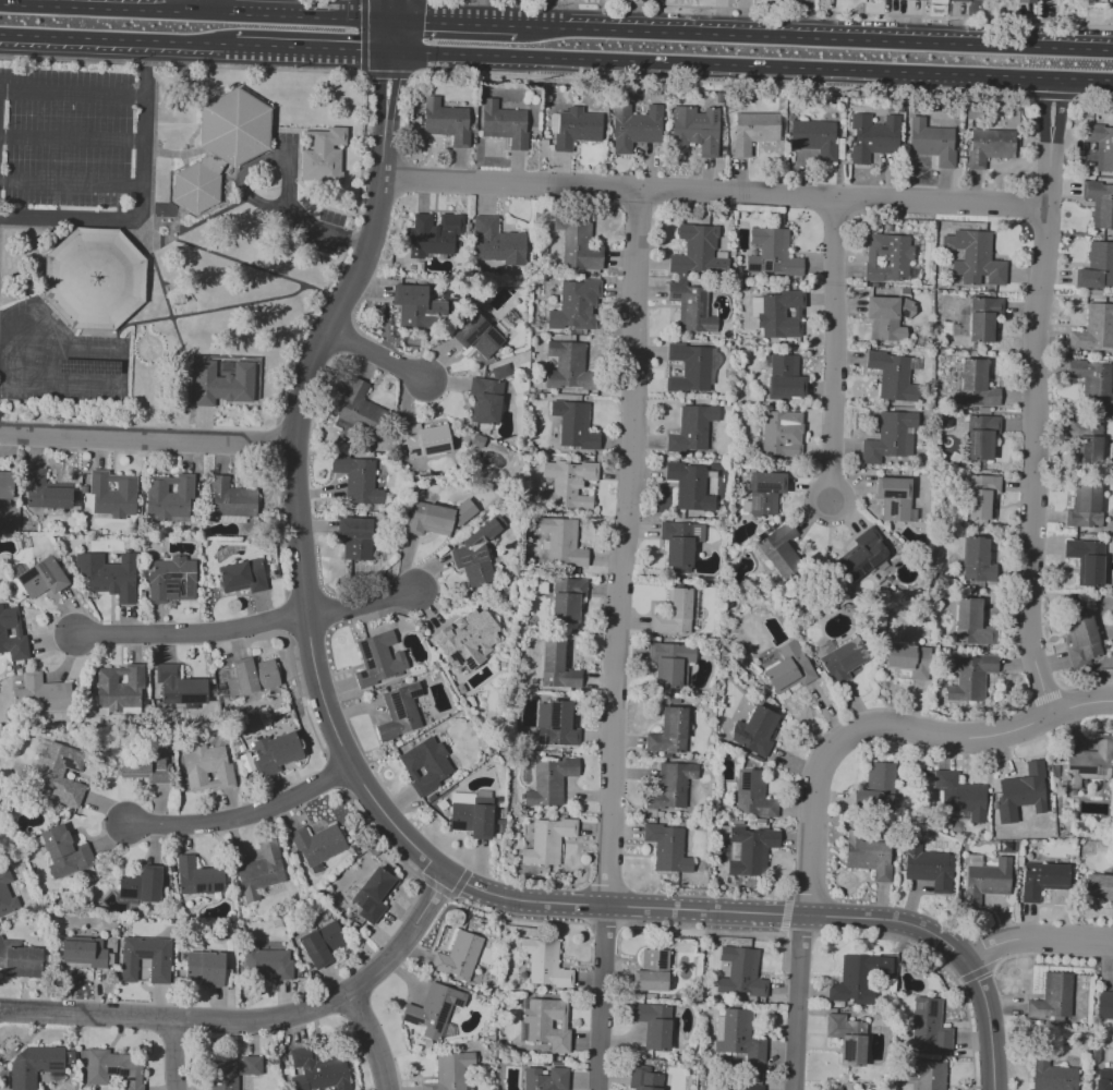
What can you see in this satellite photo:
building: (920, 0)
building: (958, 1)
building: (1026, 1)
building: (1111, 1)
road: (201, 5)
road: (394, 10)
road: (196, 11)
road: (820, 11)
traffic signals: (424, 22)
road: (455, 22)
road: (392, 36)
road: (814, 37)
road: (118, 38)
road: (314, 47)
traffic signals: (355, 49)
road: (362, 61)
road: (752, 64)
road: (181, 65)
road: (144, 69)
traffic signals: (391, 78)
road: (718, 83)
road: (71, 93)
road: (1051, 95)
road: (1093, 97)
building: (447, 122)
building: (505, 124)
building: (636, 128)
building: (578, 129)
building: (695, 129)
building: (754, 131)
building: (872, 136)
building: (814, 137)
road: (70, 138)
building: (930, 142)
building: (220, 146)
building: (1100, 146)
building: (989, 147)
building: (839, 148)
building: (323, 157)
road: (286, 171)
road: (69, 184)
road: (711, 191)
building: (1099, 203)
parking lot: (66, 214)
road: (129, 217)
building: (435, 237)
building: (499, 243)
building: (578, 243)
building: (697, 251)
building: (774, 253)
building: (888, 258)
building: (973, 259)
rooftop solar panel: (750, 266)
rooftop solar panel: (766, 266)
building: (1097, 267)
building: (97, 281)
rooftop solar panel: (673, 295)
rooftop solar panel: (700, 302)
rooftop solar panel: (757, 304)
building: (411, 305)
building: (576, 306)
building: (691, 308)
building: (783, 316)
building: (887, 317)
building: (983, 319)
building: (1094, 328)
rooftop solar panel: (473, 335)
building: (479, 335)
rooftop solar panel: (495, 338)
road: (830, 348)
road: (5, 354)
road: (376, 354)
building: (569, 364)
road: (122, 365)
rooftop solar panel: (85, 366)
building: (87, 367)
building: (689, 367)
building: (500, 372)
building: (892, 375)
building: (786, 378)
building: (1092, 383)
building: (221, 384)
building: (977, 384)
road: (1033, 396)
building: (485, 401)
building: (356, 412)
building: (574, 425)
building: (692, 428)
building: (782, 434)
building: (893, 437)
building: (980, 437)
road: (145, 438)
building: (426, 443)
building: (1086, 446)
rooftop solar panel: (435, 448)
rooftop solar panel: (412, 451)
building: (358, 481)
building: (568, 484)
building: (5, 485)
building: (690, 486)
rooftop solar panel: (764, 486)
building: (46, 492)
building: (764, 493)
rooftop solar panel: (899, 493)
building: (111, 495)
building: (981, 496)
building: (895, 497)
building: (170, 498)
building: (231, 501)
rooftop solar panel: (753, 505)
building: (1084, 506)
building: (436, 518)
rooftop solar panel: (694, 534)
building: (355, 537)
building: (680, 542)
building: (562, 543)
road: (625, 546)
building: (781, 550)
building: (477, 553)
building: (863, 554)
road: (301, 557)
building: (975, 559)
building: (1087, 559)
rooftop solar panel: (39, 569)
building: (107, 577)
building: (242, 577)
building: (41, 579)
building: (171, 579)
building: (571, 586)
rooftop solar panel: (169, 590)
road: (361, 606)
building: (569, 608)
building: (674, 614)
building: (970, 622)
road: (194, 632)
building: (12, 635)
building: (1081, 638)
building: (465, 640)
rooftop solar panel: (364, 649)
rooftop solar panel: (455, 657)
building: (378, 658)
building: (844, 659)
building: (908, 659)
building: (669, 663)
rooftop solar panel: (368, 664)
rooftop solar panel: (468, 664)
building: (552, 664)
building: (789, 668)
rooftop solar panel: (362, 674)
building: (267, 675)
building: (244, 677)
building: (971, 678)
building: (572, 679)
building: (120, 685)
building: (180, 686)
rooftop solar panel: (414, 692)
building: (47, 693)
rooftop solar panel: (193, 698)
road: (1043, 698)
rooftop solar panel: (396, 705)
building: (400, 712)
rooftop solar panel: (552, 714)
building: (557, 724)
road: (886, 727)
rooftop solar panel: (553, 728)
building: (757, 730)
building: (669, 731)
rooftop solar panel: (539, 739)
rooftop solar panel: (545, 739)
building: (277, 752)
rooftop solar panel: (66, 764)
building: (1089, 765)
building: (145, 766)
building: (426, 766)
building: (207, 768)
rooftop solar panel: (1085, 768)
rooftop solar panel: (1100, 771)
building: (61, 773)
building: (880, 776)
building: (549, 782)
rooftop solar panel: (743, 782)
building: (670, 787)
building: (1023, 789)
building: (963, 796)
building: (752, 797)
road: (242, 816)
building: (471, 819)
rooftop solar panel: (456, 826)
building: (547, 840)
building: (318, 844)
building: (667, 848)
building: (752, 849)
building: (64, 853)
building: (869, 857)
building: (927, 867)
building: (262, 870)
building: (197, 877)
building: (989, 879)
building: (1040, 880)
building: (138, 886)
rooftop solar panel: (194, 886)
rooftop solar panel: (216, 887)
rooftop solar panel: (207, 888)
building: (1098, 888)
rooftop solar panel: (124, 892)
building: (5, 894)
building: (373, 895)
road: (785, 912)
road: (858, 919)
road: (1036, 936)
building: (320, 943)
building: (84, 953)
rooftop solar panel: (142, 955)
building: (459, 957)
rooftop solar panel: (661, 960)
building: (20, 962)
building: (268, 964)
building: (544, 964)
building: (205, 969)
building: (159, 971)
building: (653, 973)
building: (739, 973)
building: (863, 982)
building: (1057, 994)
road: (600, 997)
road: (796, 1002)
rooftop solar panel: (456, 1004)
rooftop solar panel: (918, 1005)
building: (1105, 1005)
rooftop solar panel: (931, 1008)
building: (431, 1009)
rooftop solar panel: (440, 1010)
road: (254, 1018)
rooftop solar panel: (410, 1020)
rooftop solar panel: (437, 1026)
building: (544, 1026)
building: (654, 1027)
building: (930, 1027)
building: (738, 1037)
road: (370, 1040)
building: (848, 1040)
rooftop solar panel: (847, 1051)
road: (173, 1054)
building: (34, 1066)
building: (110, 1069)
rooftop solar panel: (117, 1070)
building: (317, 1070)
building: (234, 1073)
building: (452, 1073)
building: (924, 1075)
building: (546, 1078)
building: (644, 1078)
building: (1055, 1078)
building: (1103, 1085)
building: (751, 1088)
building: (833, 1089)
building: (851, 1089)

